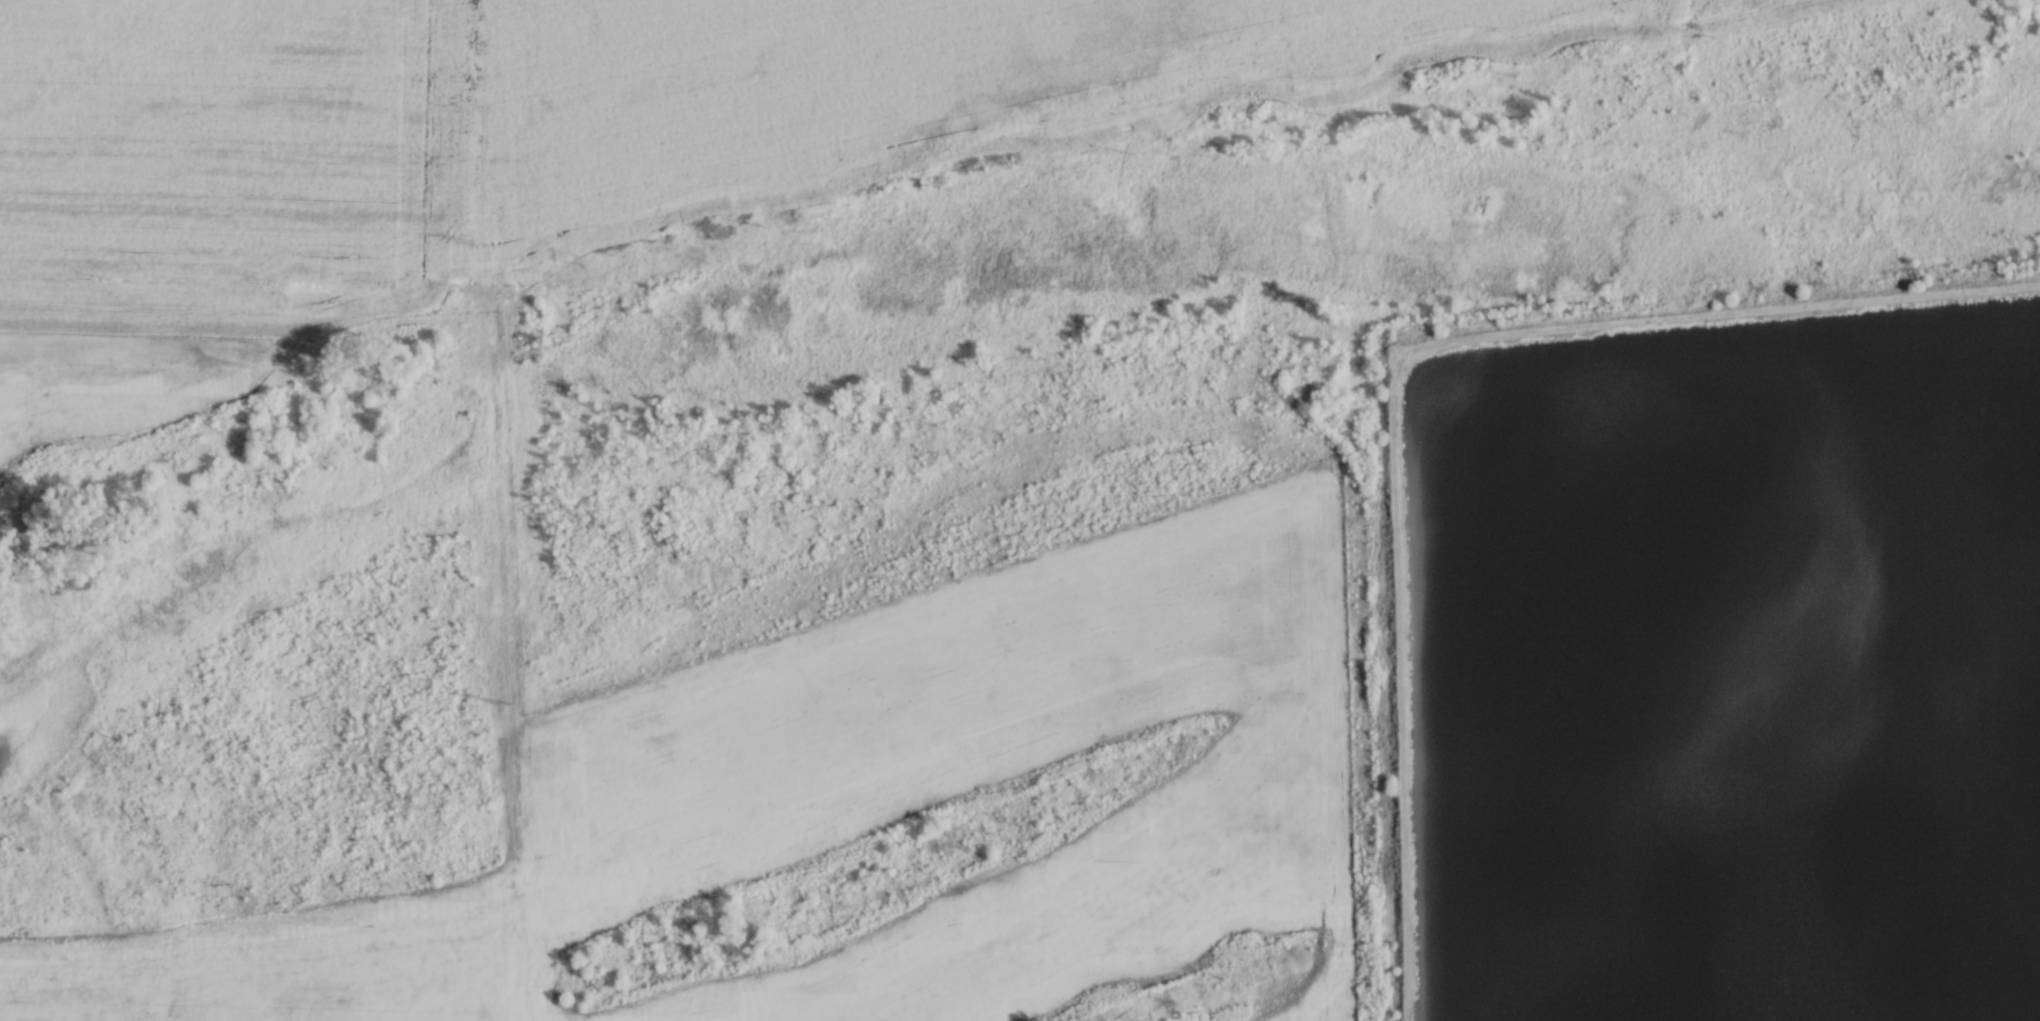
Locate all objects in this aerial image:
power tower: (487, 242)
power tower: (591, 259)
power tower: (448, 289)
road: (1398, 365)
power tower: (509, 704)

